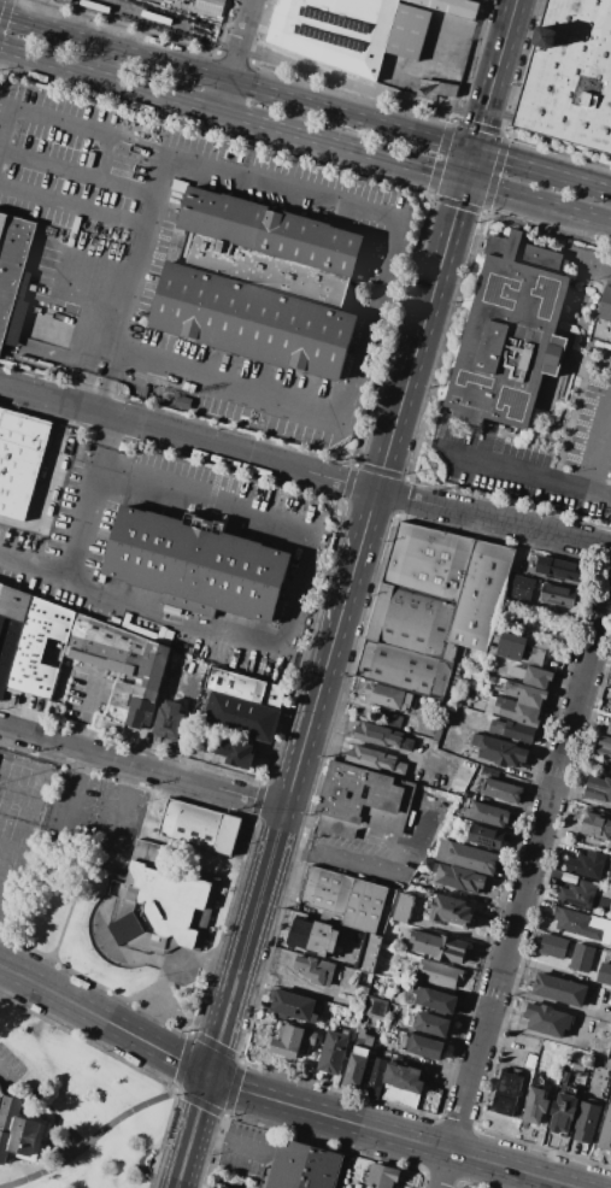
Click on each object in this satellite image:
building: (207, 6)
building: (447, 7)
building: (334, 31)
building: (407, 31)
road: (113, 47)
road: (231, 55)
road: (235, 55)
building: (570, 75)
railway: (343, 84)
building: (435, 89)
road: (377, 96)
road: (506, 120)
road: (64, 124)
road: (7, 128)
road: (419, 135)
road: (305, 136)
traffic signals: (474, 151)
road: (107, 160)
road: (78, 175)
traffic signals: (464, 182)
road: (287, 192)
road: (427, 196)
road: (75, 206)
road: (589, 261)
building: (13, 276)
road: (95, 282)
building: (262, 282)
road: (135, 286)
building: (603, 317)
road: (376, 320)
building: (509, 333)
road: (233, 386)
road: (600, 445)
building: (19, 459)
parking lot: (535, 460)
road: (522, 466)
road: (304, 470)
road: (82, 534)
building: (428, 560)
building: (196, 564)
building: (559, 569)
building: (512, 583)
road: (301, 588)
road: (346, 594)
building: (511, 594)
building: (480, 595)
building: (558, 595)
building: (171, 610)
building: (415, 623)
building: (10, 627)
building: (105, 646)
building: (517, 647)
building: (40, 648)
building: (407, 669)
building: (531, 675)
building: (147, 683)
building: (245, 687)
building: (528, 694)
building: (387, 695)
building: (114, 708)
building: (512, 711)
road: (83, 712)
building: (241, 717)
building: (169, 719)
building: (392, 719)
building: (441, 723)
building: (609, 727)
building: (512, 730)
building: (377, 735)
building: (424, 740)
building: (406, 743)
building: (604, 747)
building: (499, 749)
building: (235, 752)
building: (376, 759)
road: (142, 766)
building: (598, 789)
building: (501, 790)
road: (583, 800)
building: (362, 801)
building: (487, 813)
building: (597, 824)
building: (199, 828)
road: (345, 831)
building: (484, 835)
road: (83, 846)
building: (466, 857)
building: (587, 864)
road: (377, 870)
building: (460, 877)
road: (525, 893)
building: (578, 894)
building: (348, 899)
building: (161, 901)
building: (403, 907)
building: (451, 911)
building: (582, 924)
building: (315, 936)
building: (437, 946)
building: (553, 946)
building: (370, 952)
building: (582, 957)
road: (548, 966)
building: (315, 969)
building: (439, 974)
building: (604, 974)
road: (4, 976)
building: (559, 989)
building: (359, 996)
building: (434, 999)
building: (293, 1005)
road: (562, 1005)
building: (375, 1006)
building: (548, 1019)
building: (431, 1024)
road: (546, 1035)
building: (322, 1036)
building: (293, 1041)
building: (422, 1046)
road: (509, 1046)
building: (334, 1051)
building: (358, 1060)
building: (530, 1060)
parking lot: (8, 1064)
road: (7, 1075)
traffic signals: (208, 1076)
building: (564, 1076)
building: (376, 1077)
building: (403, 1083)
building: (506, 1094)
road: (277, 1101)
building: (536, 1106)
park: (74, 1110)
building: (562, 1113)
building: (586, 1122)
road: (112, 1129)
building: (19, 1131)
building: (605, 1134)
road: (268, 1155)
building: (301, 1166)
building: (383, 1176)
building: (354, 1184)

